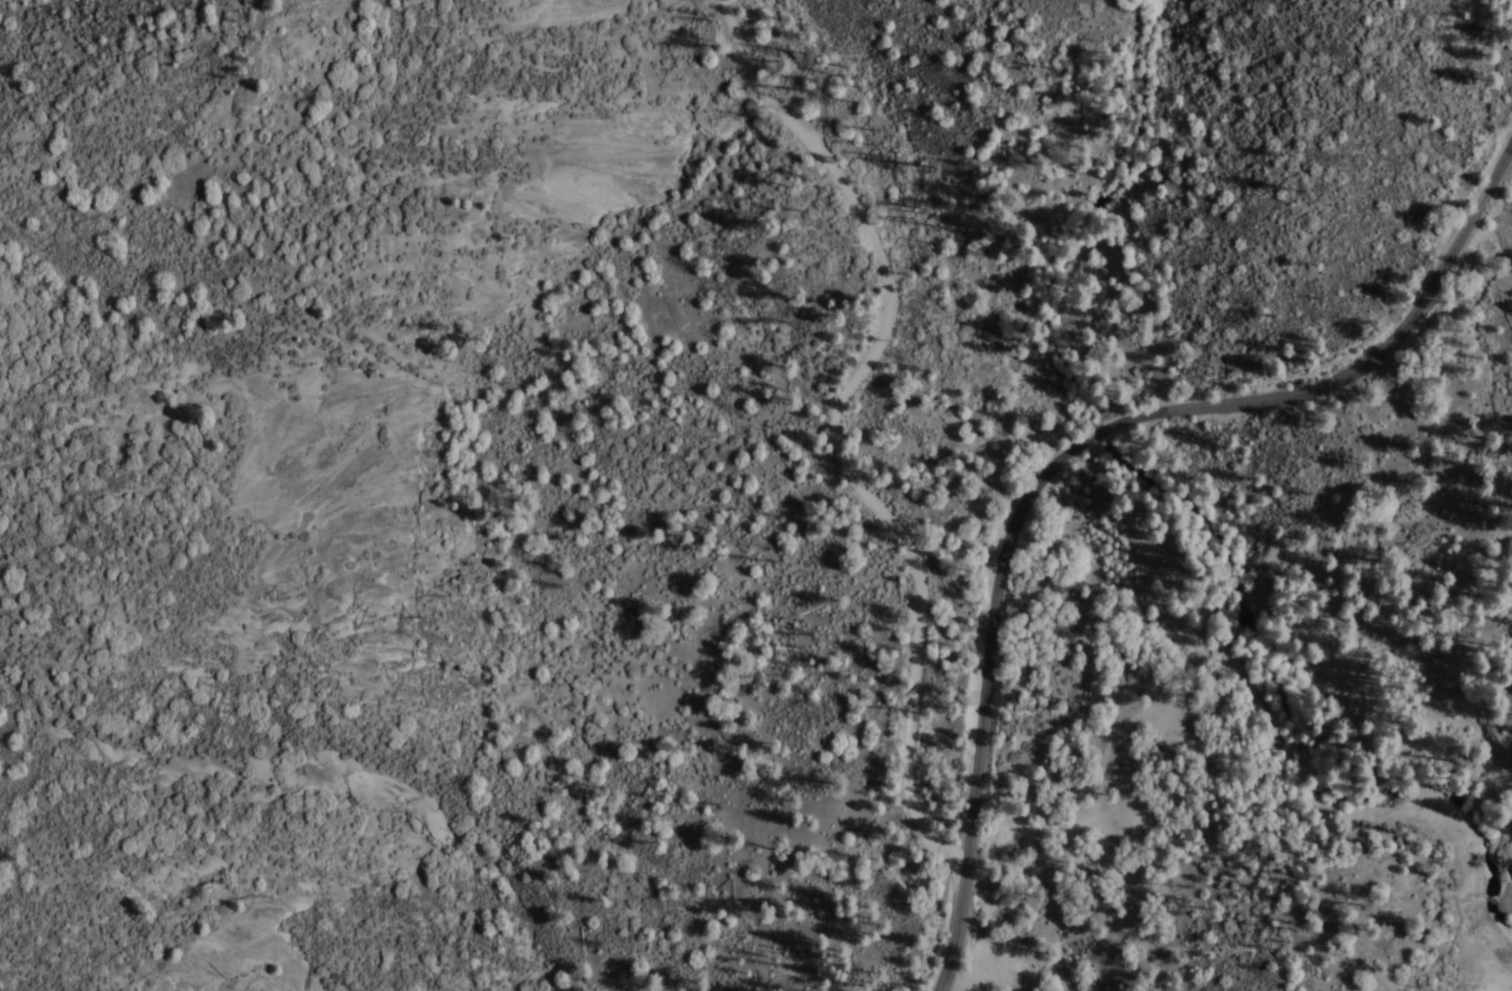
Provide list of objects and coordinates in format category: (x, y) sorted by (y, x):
road: (845, 429)
road: (1073, 446)
parking lot: (989, 846)

